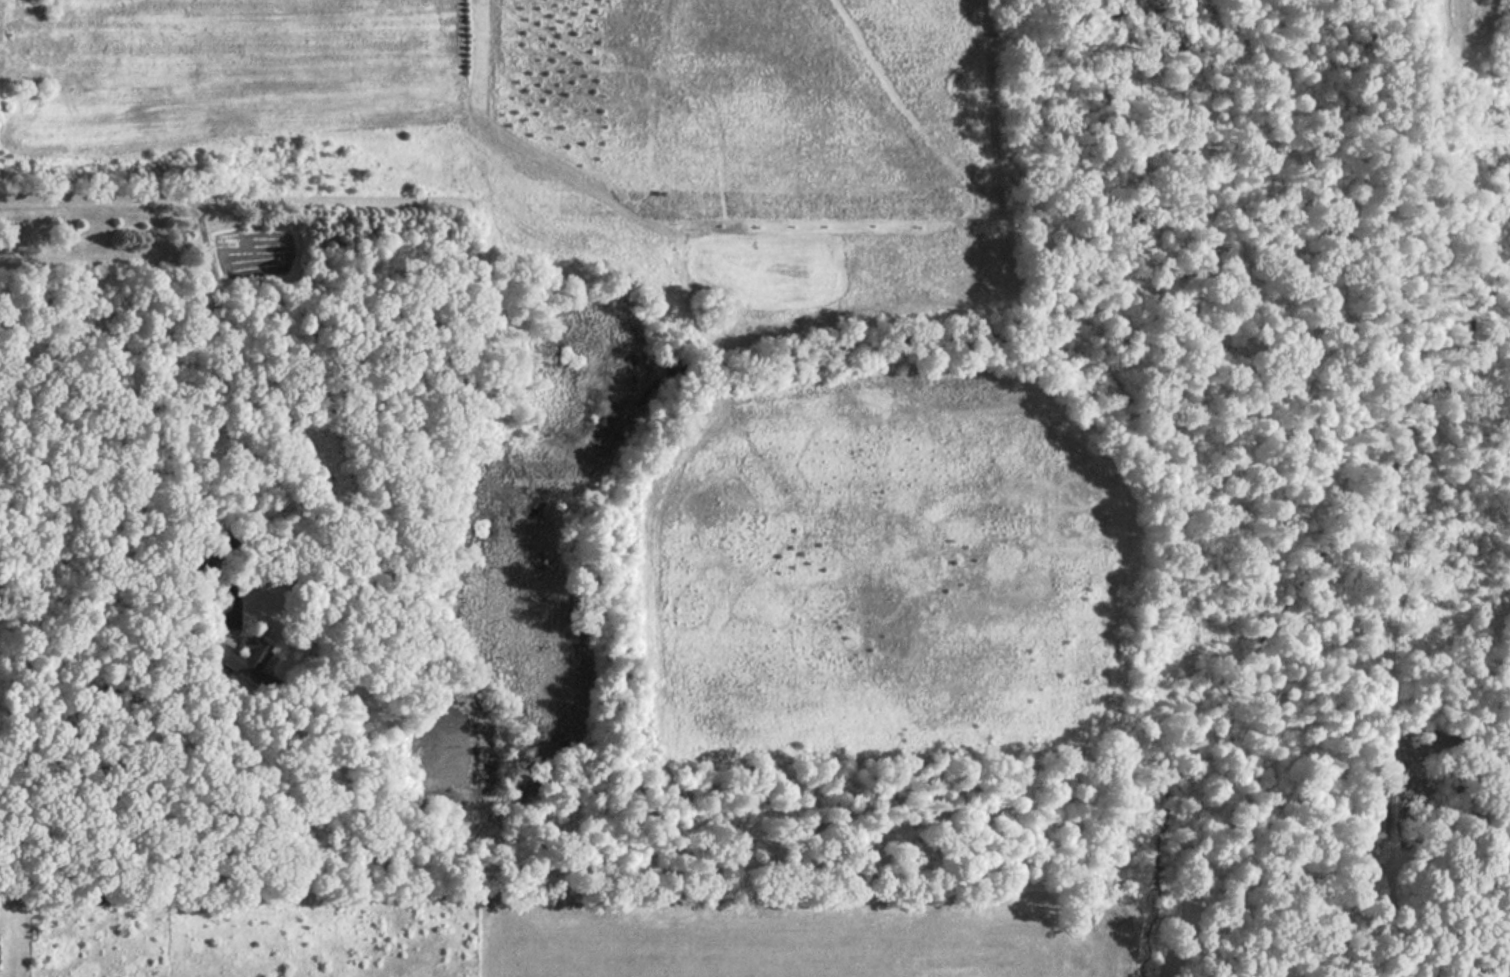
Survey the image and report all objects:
road: (221, 317)
building: (244, 656)

